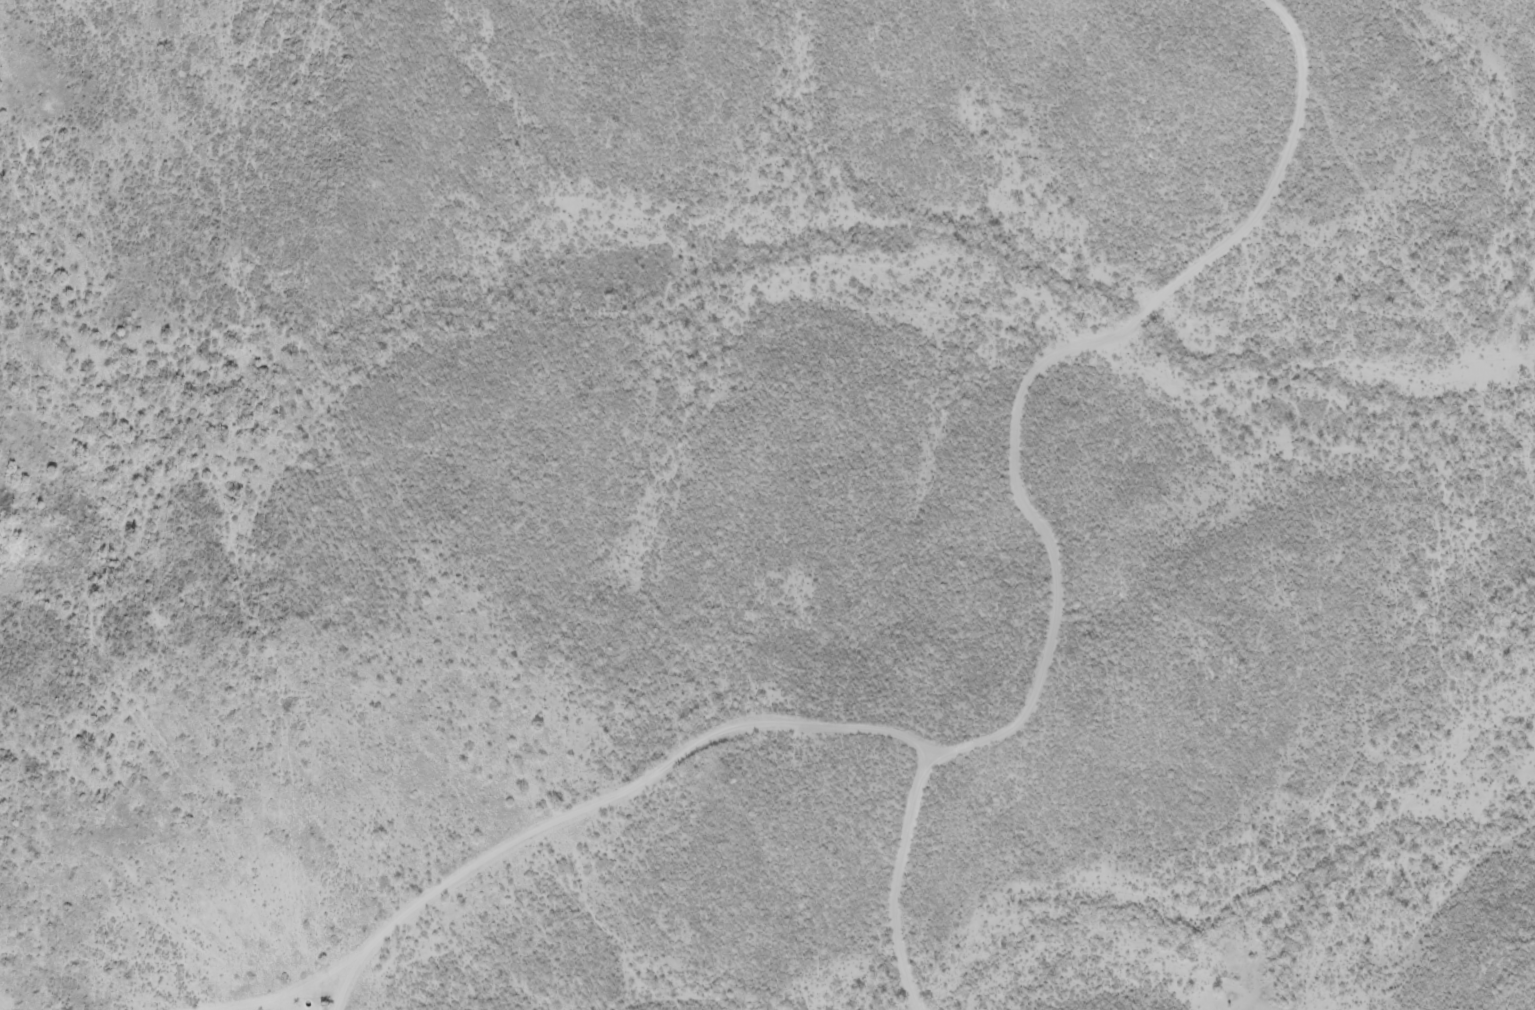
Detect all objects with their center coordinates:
road: (1033, 669)
road: (904, 878)

